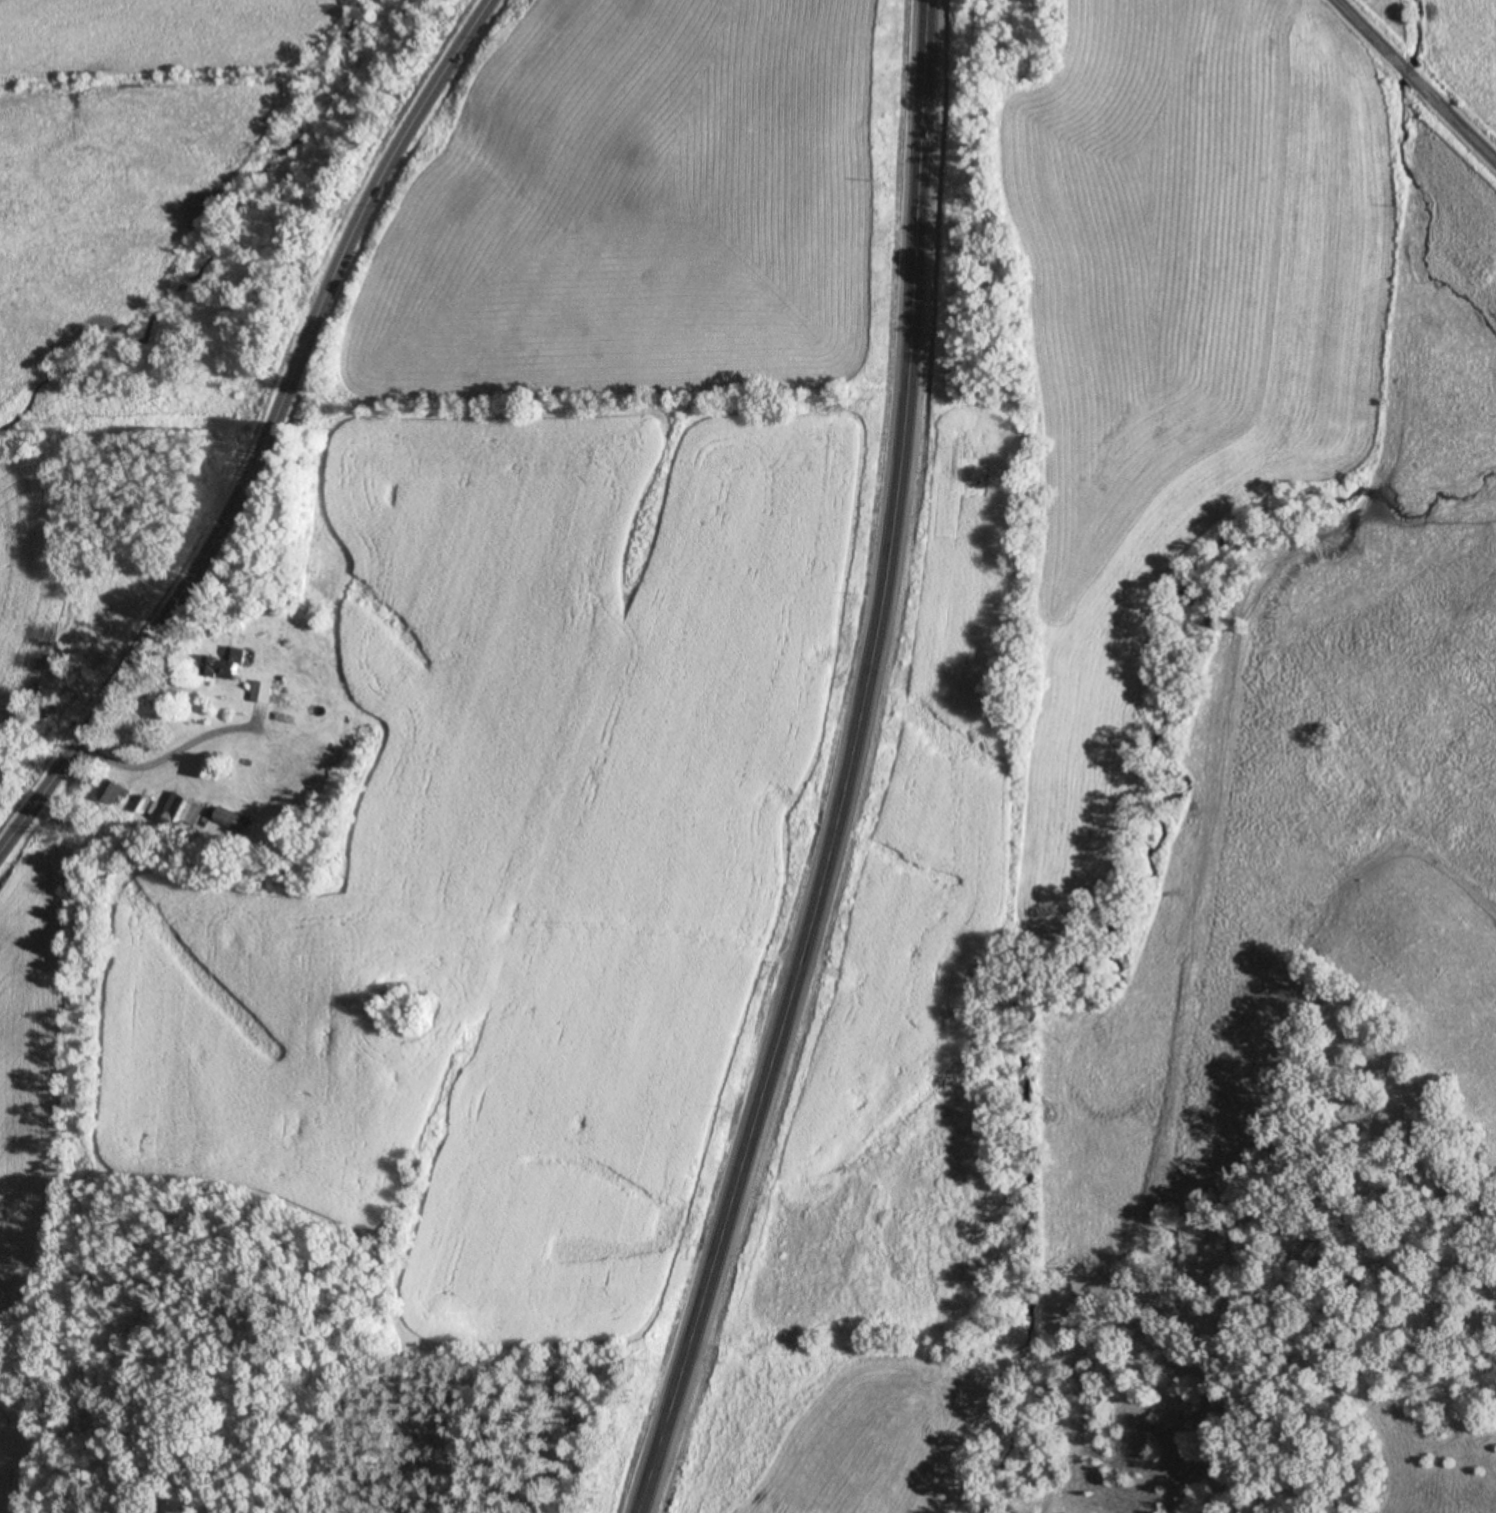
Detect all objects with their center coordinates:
road: (1410, 85)
road: (262, 436)
building: (228, 665)
building: (263, 692)
road: (164, 755)
building: (307, 756)
building: (211, 767)
road: (843, 768)
building: (111, 792)
building: (183, 810)
building: (233, 821)

